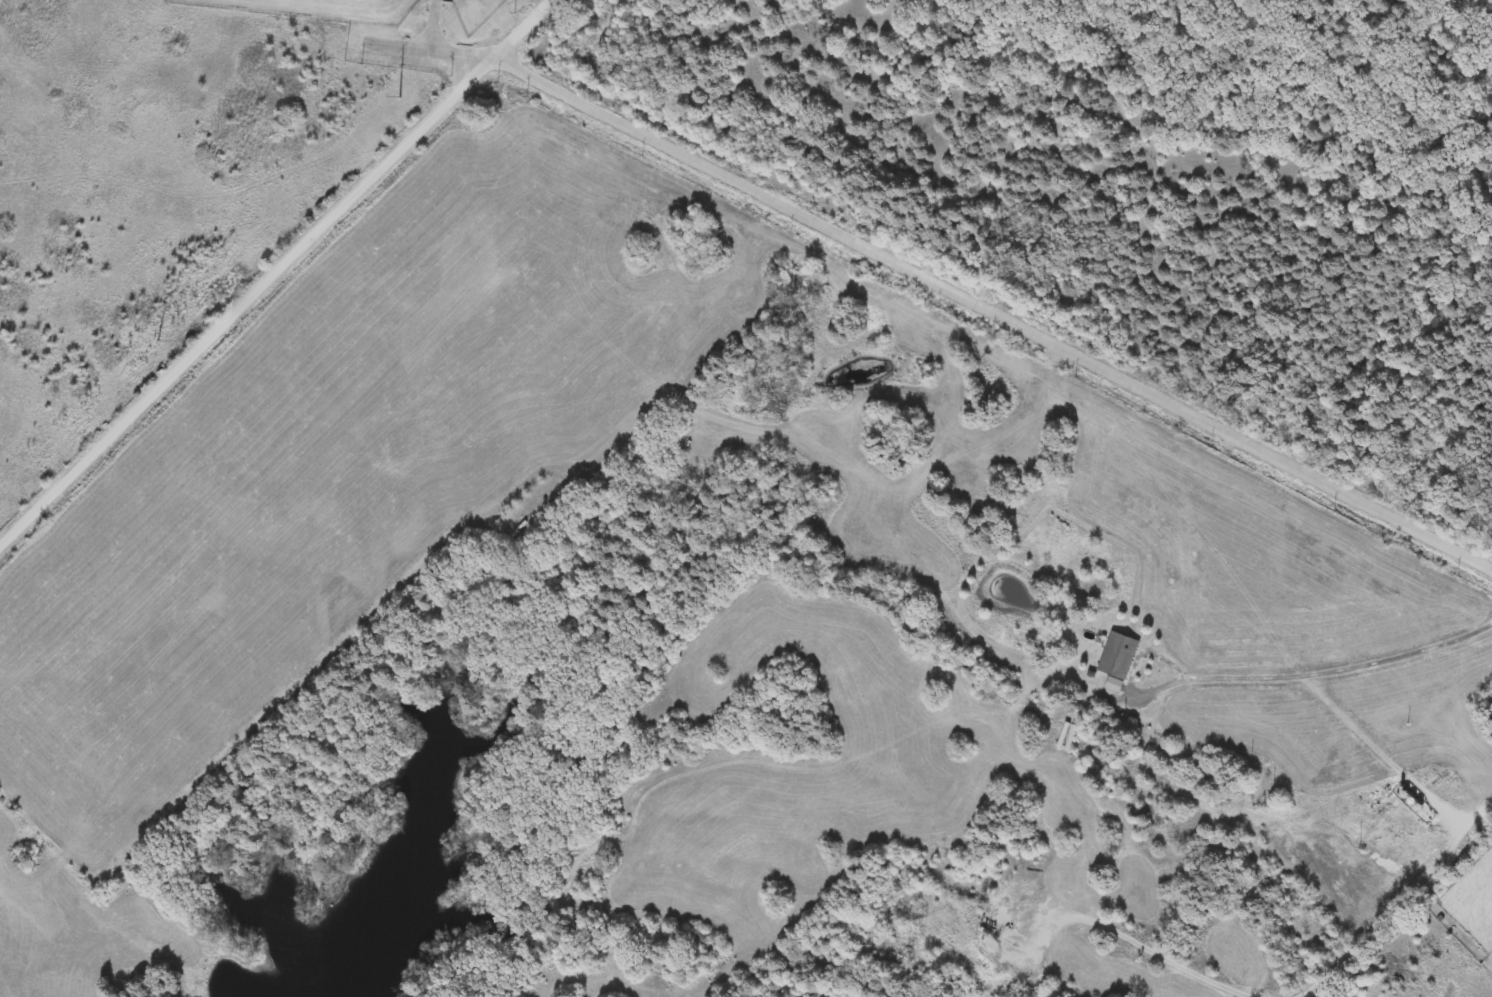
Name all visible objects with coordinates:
road: (442, 44)
road: (740, 230)
road: (278, 271)
road: (992, 311)
building: (1118, 657)
road: (1315, 672)
road: (1461, 801)
road: (1397, 903)
road: (1132, 935)

